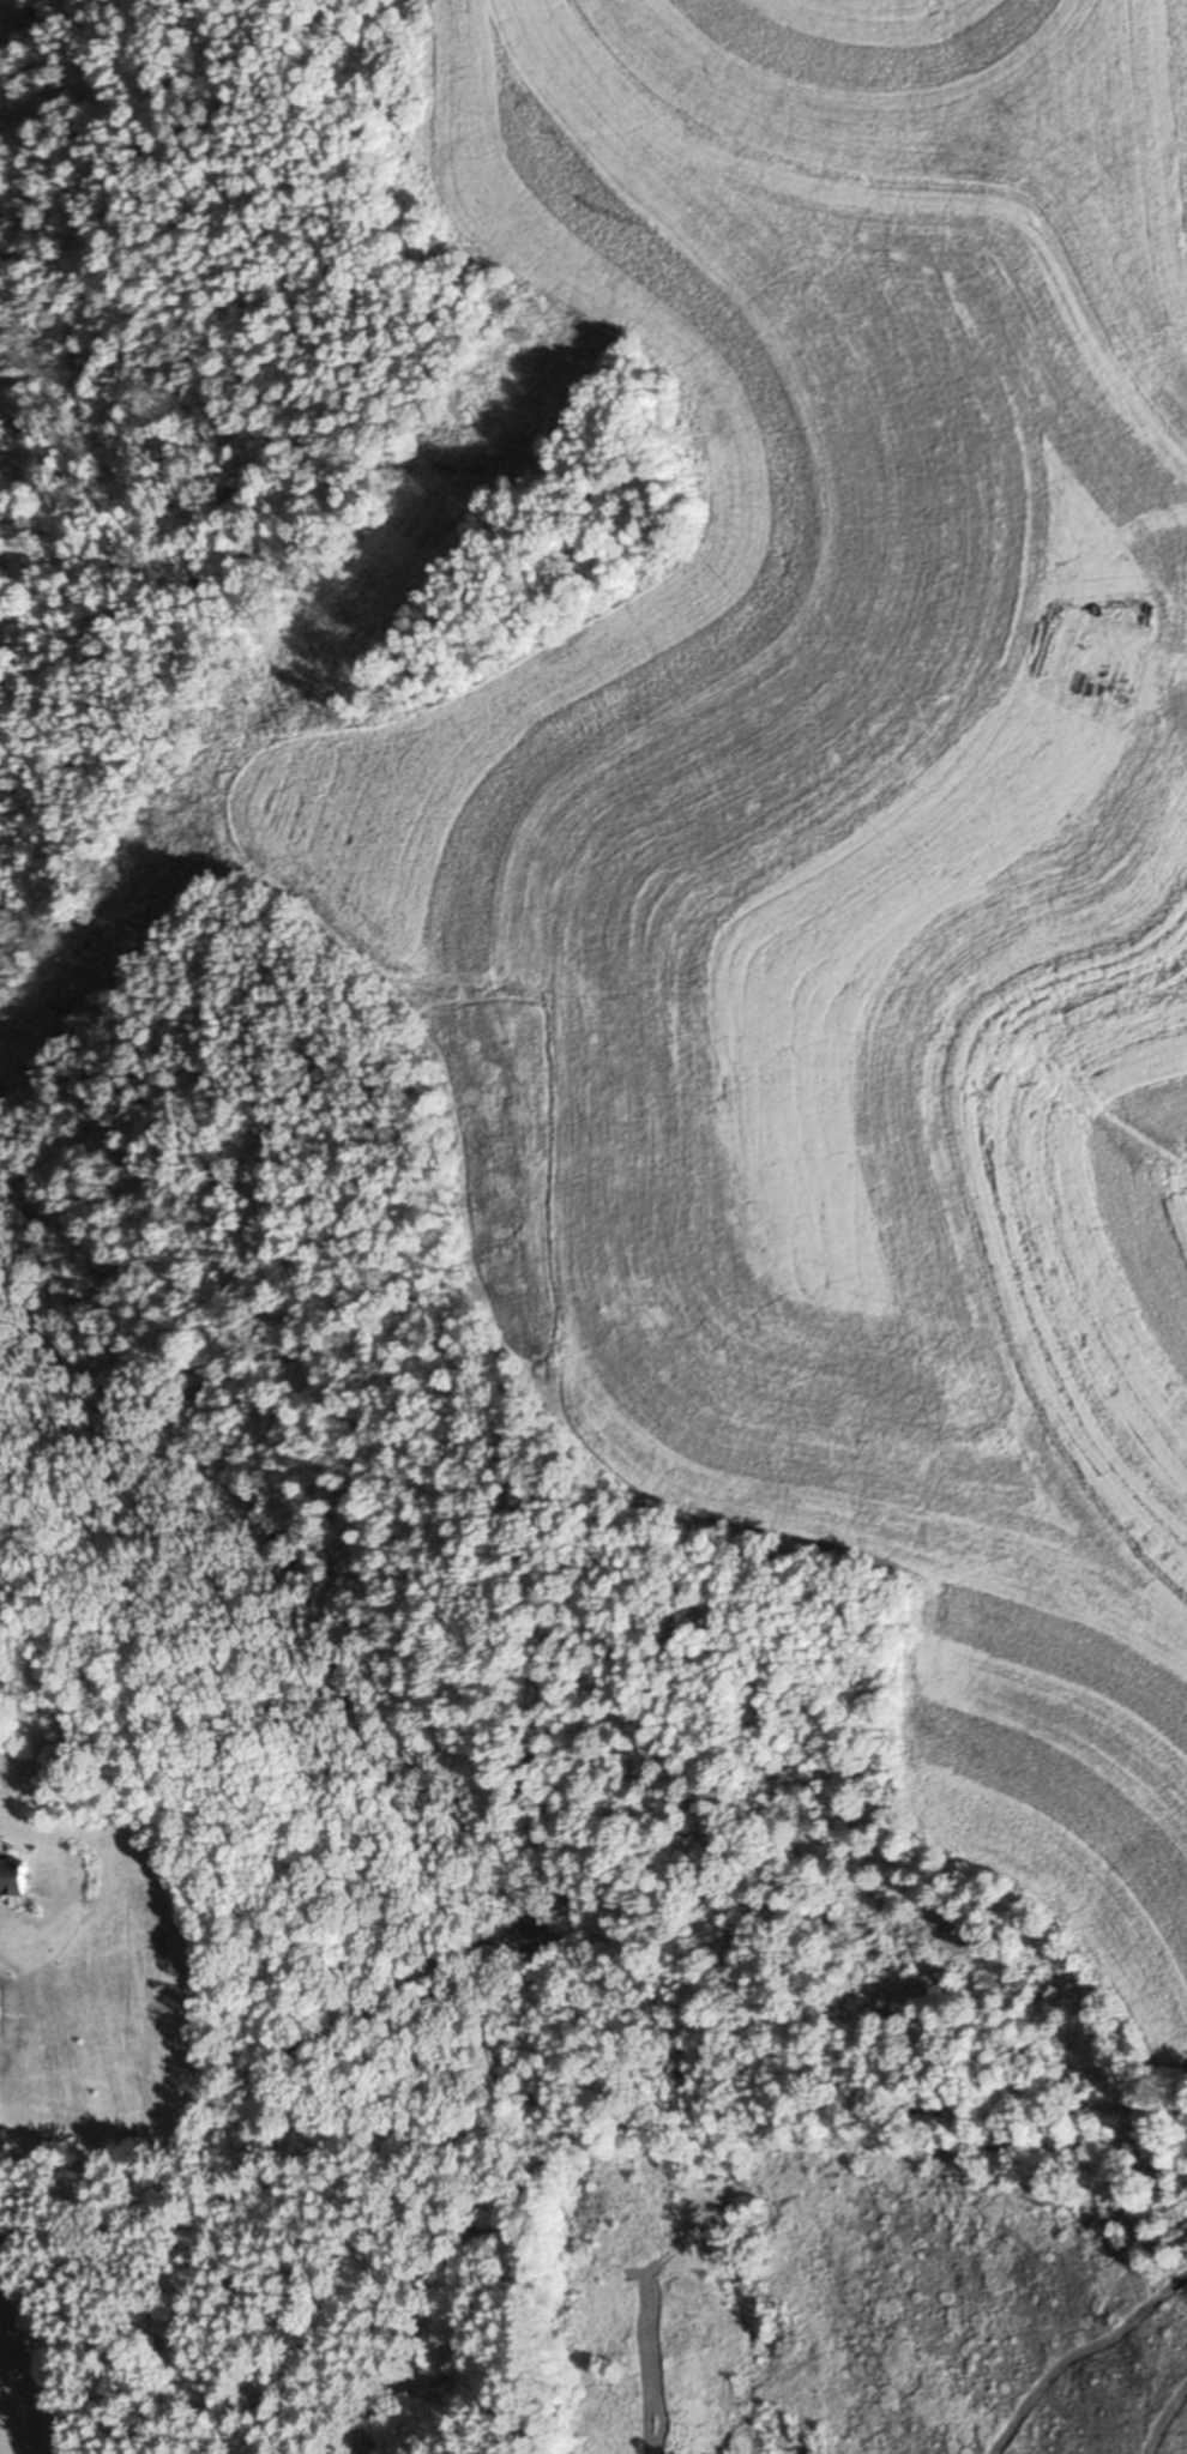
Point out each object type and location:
power tower: (651, 231)
power tower: (206, 810)
building: (11, 1876)

